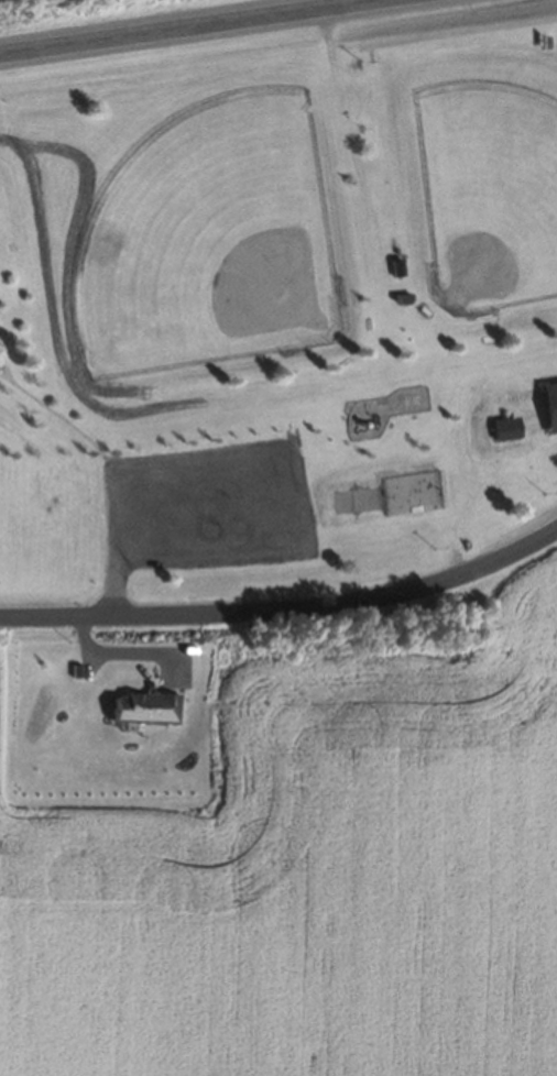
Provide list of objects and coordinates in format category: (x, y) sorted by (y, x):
road: (181, 25)
park: (477, 195)
park: (226, 253)
building: (394, 263)
building: (398, 298)
park: (278, 308)
road: (56, 414)
road: (259, 458)
road: (445, 477)
building: (409, 493)
parking lot: (207, 509)
road: (285, 610)

